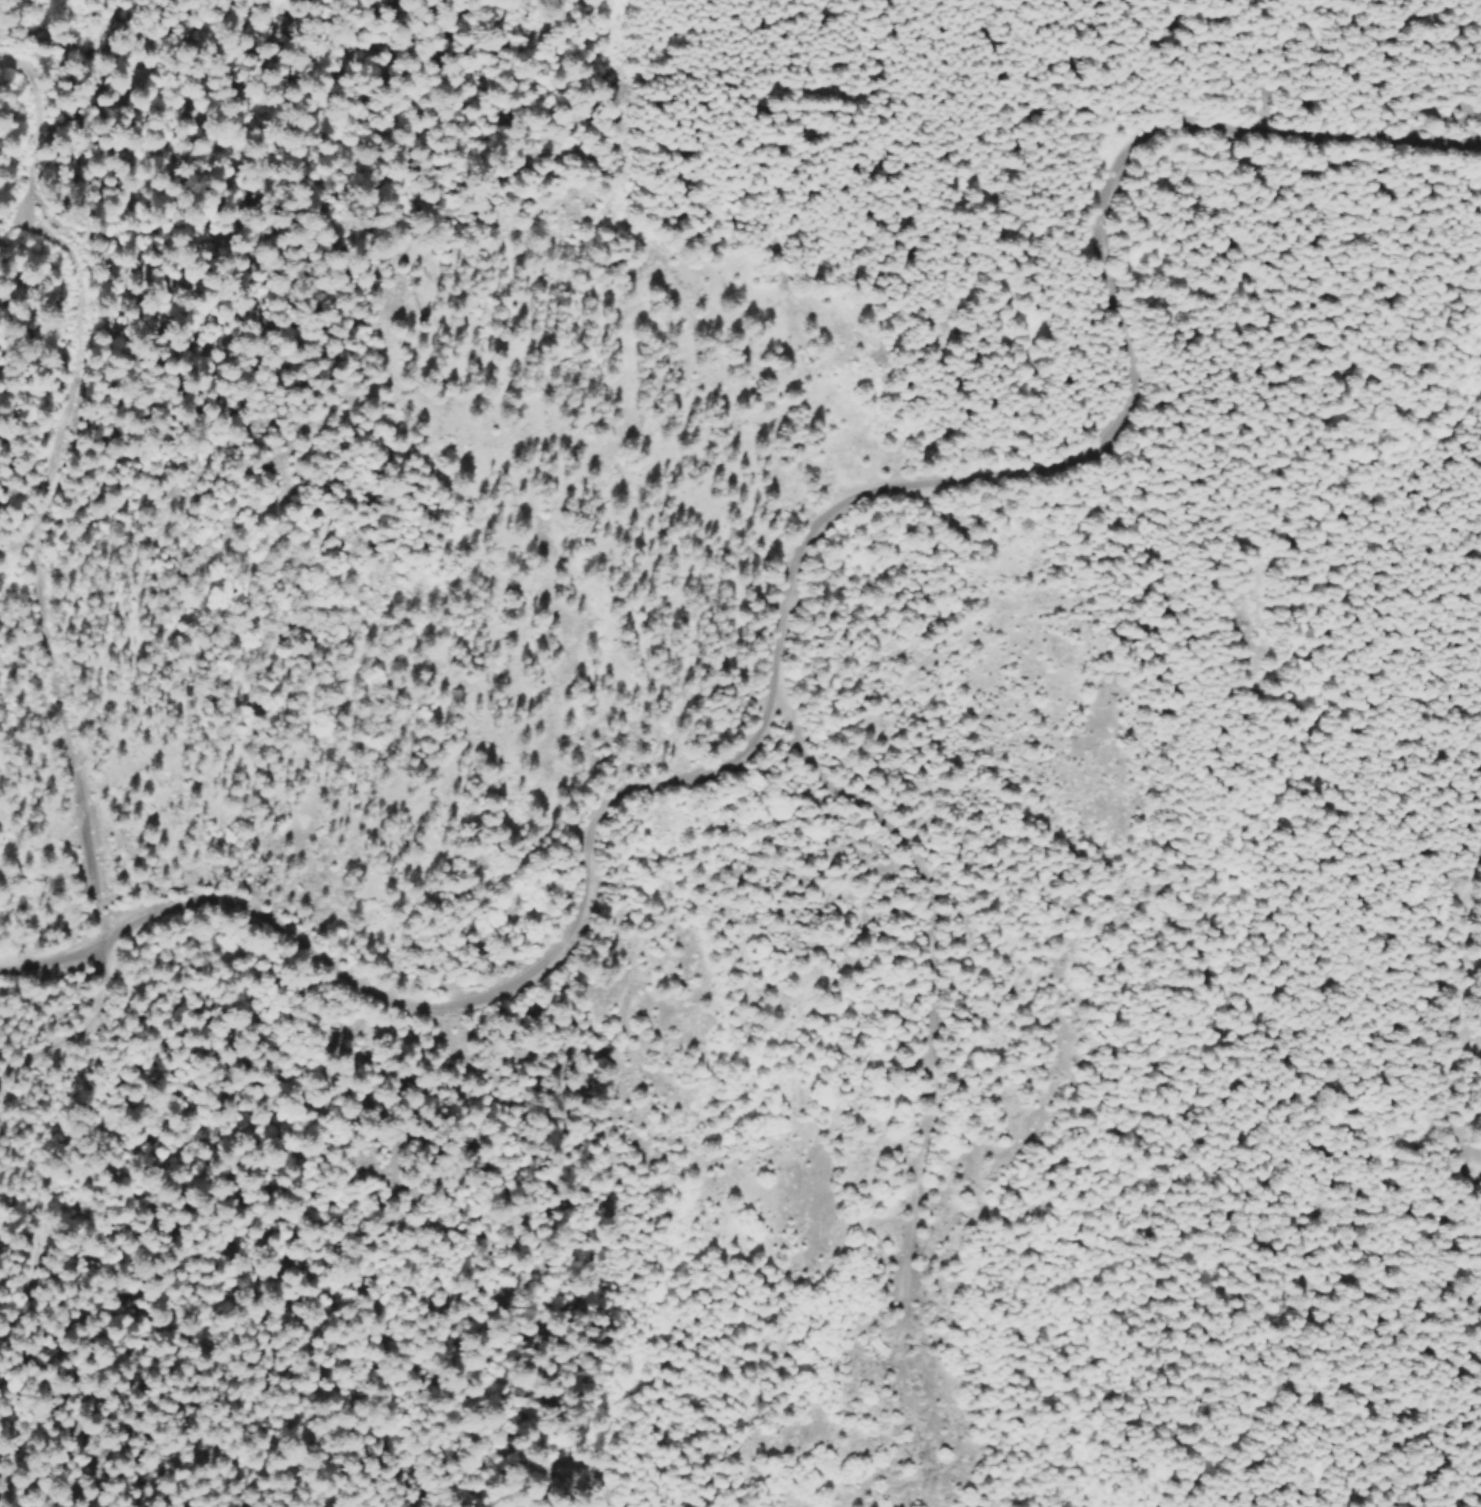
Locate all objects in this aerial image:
road: (44, 499)
road: (782, 604)
road: (78, 1030)

